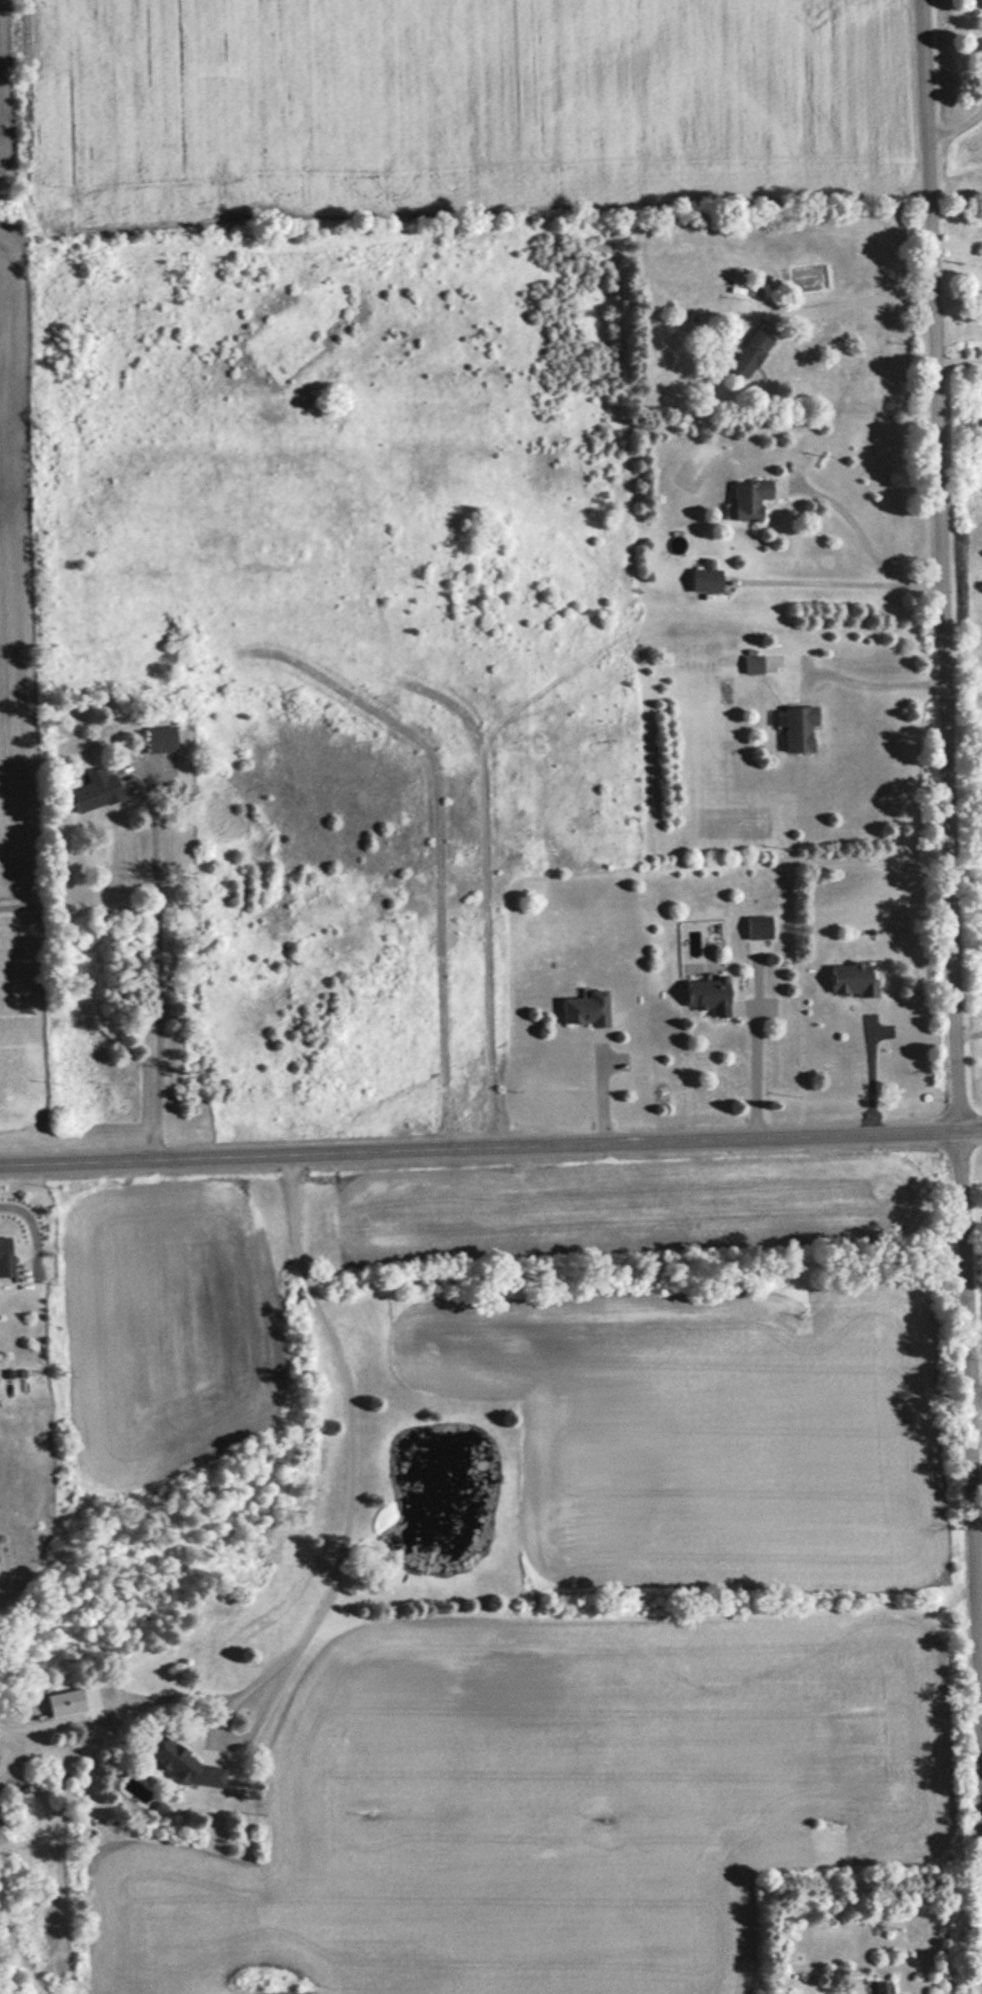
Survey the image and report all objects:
building: (749, 353)
building: (754, 497)
building: (706, 578)
building: (753, 664)
building: (799, 728)
building: (160, 739)
building: (94, 790)
building: (758, 925)
road: (951, 933)
building: (853, 977)
building: (708, 993)
building: (586, 1008)
road: (490, 1142)
building: (6, 1256)
building: (30, 1701)
building: (64, 1702)
building: (169, 1756)
building: (882, 1988)

